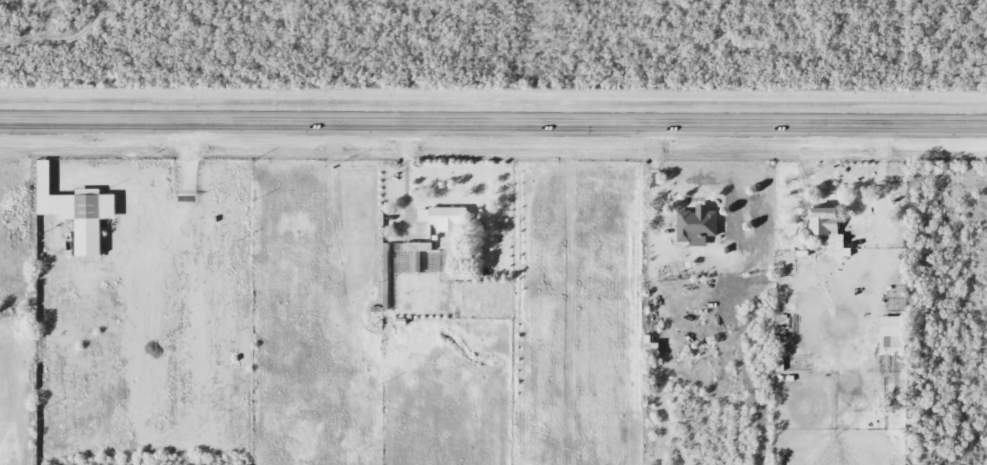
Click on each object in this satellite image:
road: (493, 121)
building: (73, 211)
building: (443, 216)
building: (693, 226)
building: (825, 229)
building: (419, 254)
building: (389, 271)
building: (889, 336)
building: (653, 348)

